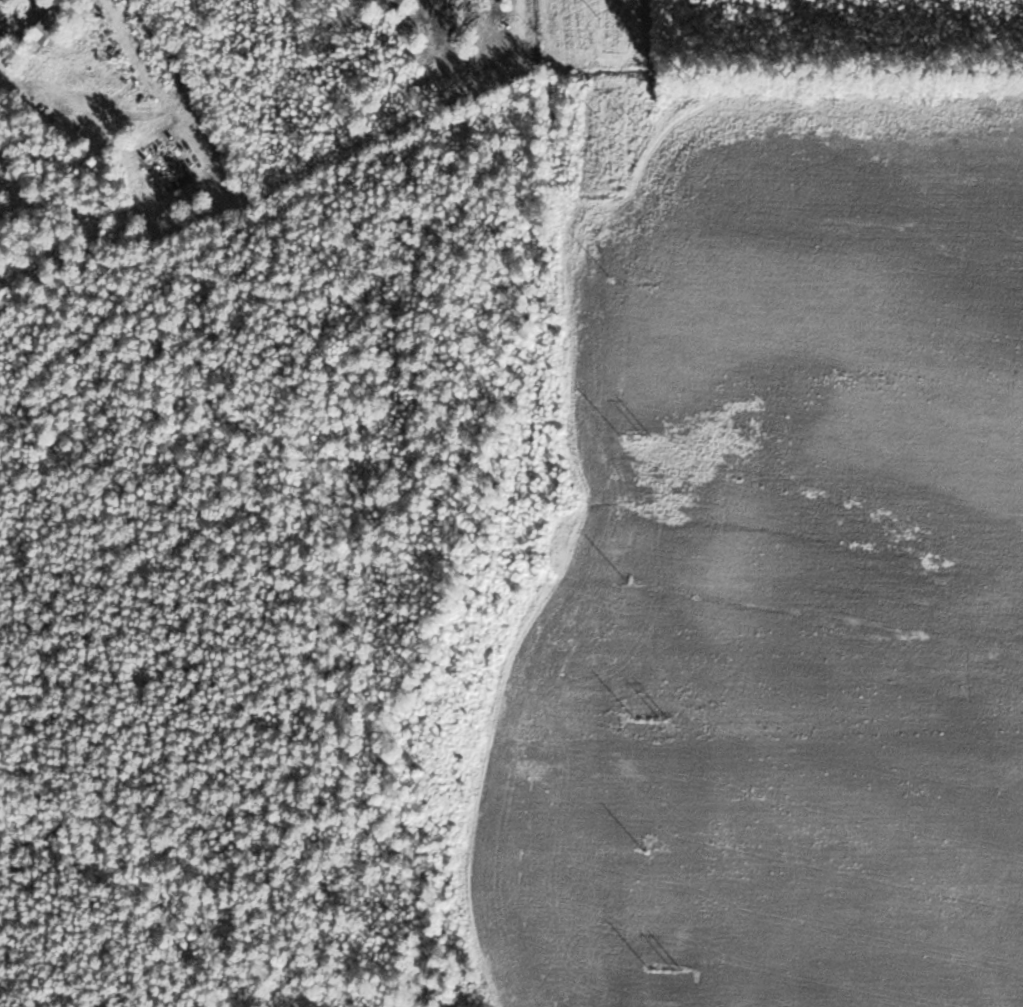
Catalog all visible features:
building: (55, 26)
power tower: (629, 120)
building: (3, 191)
power tower: (648, 435)
power tower: (665, 717)
power tower: (679, 968)

